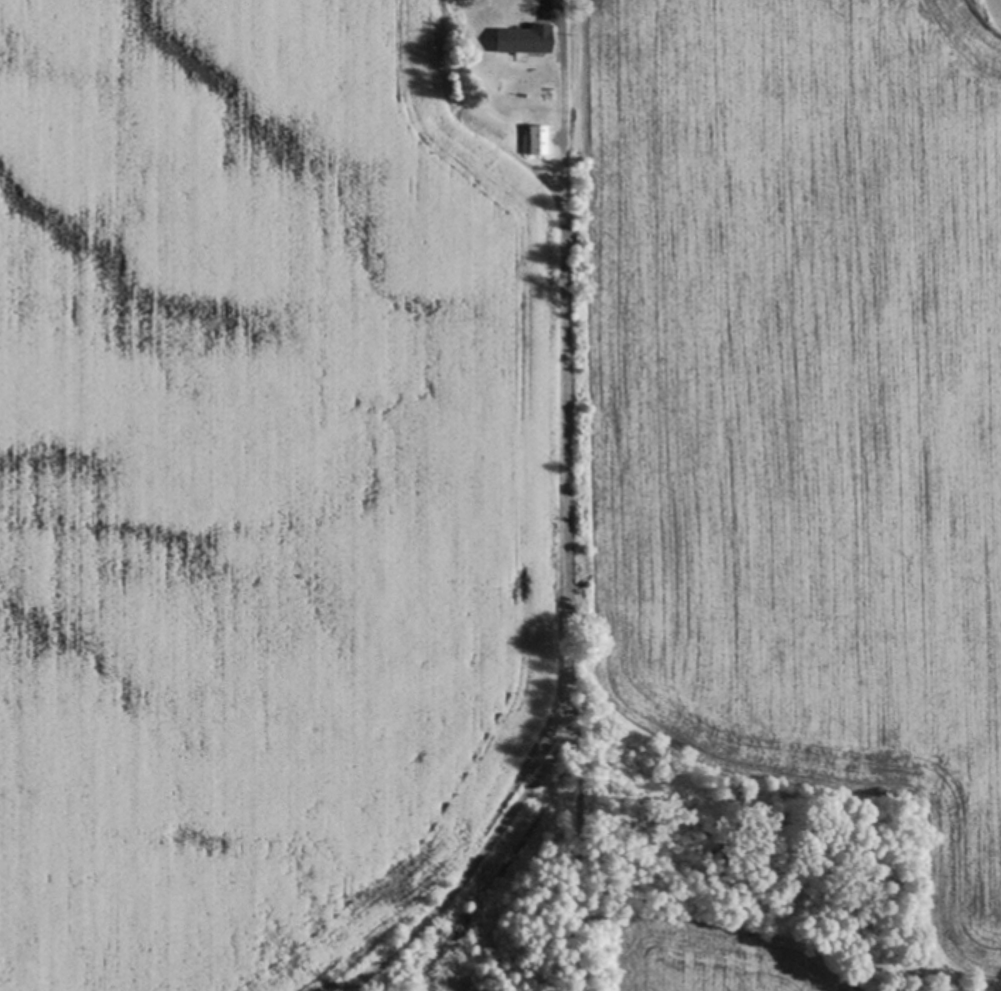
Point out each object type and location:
building: (524, 37)
building: (537, 138)

